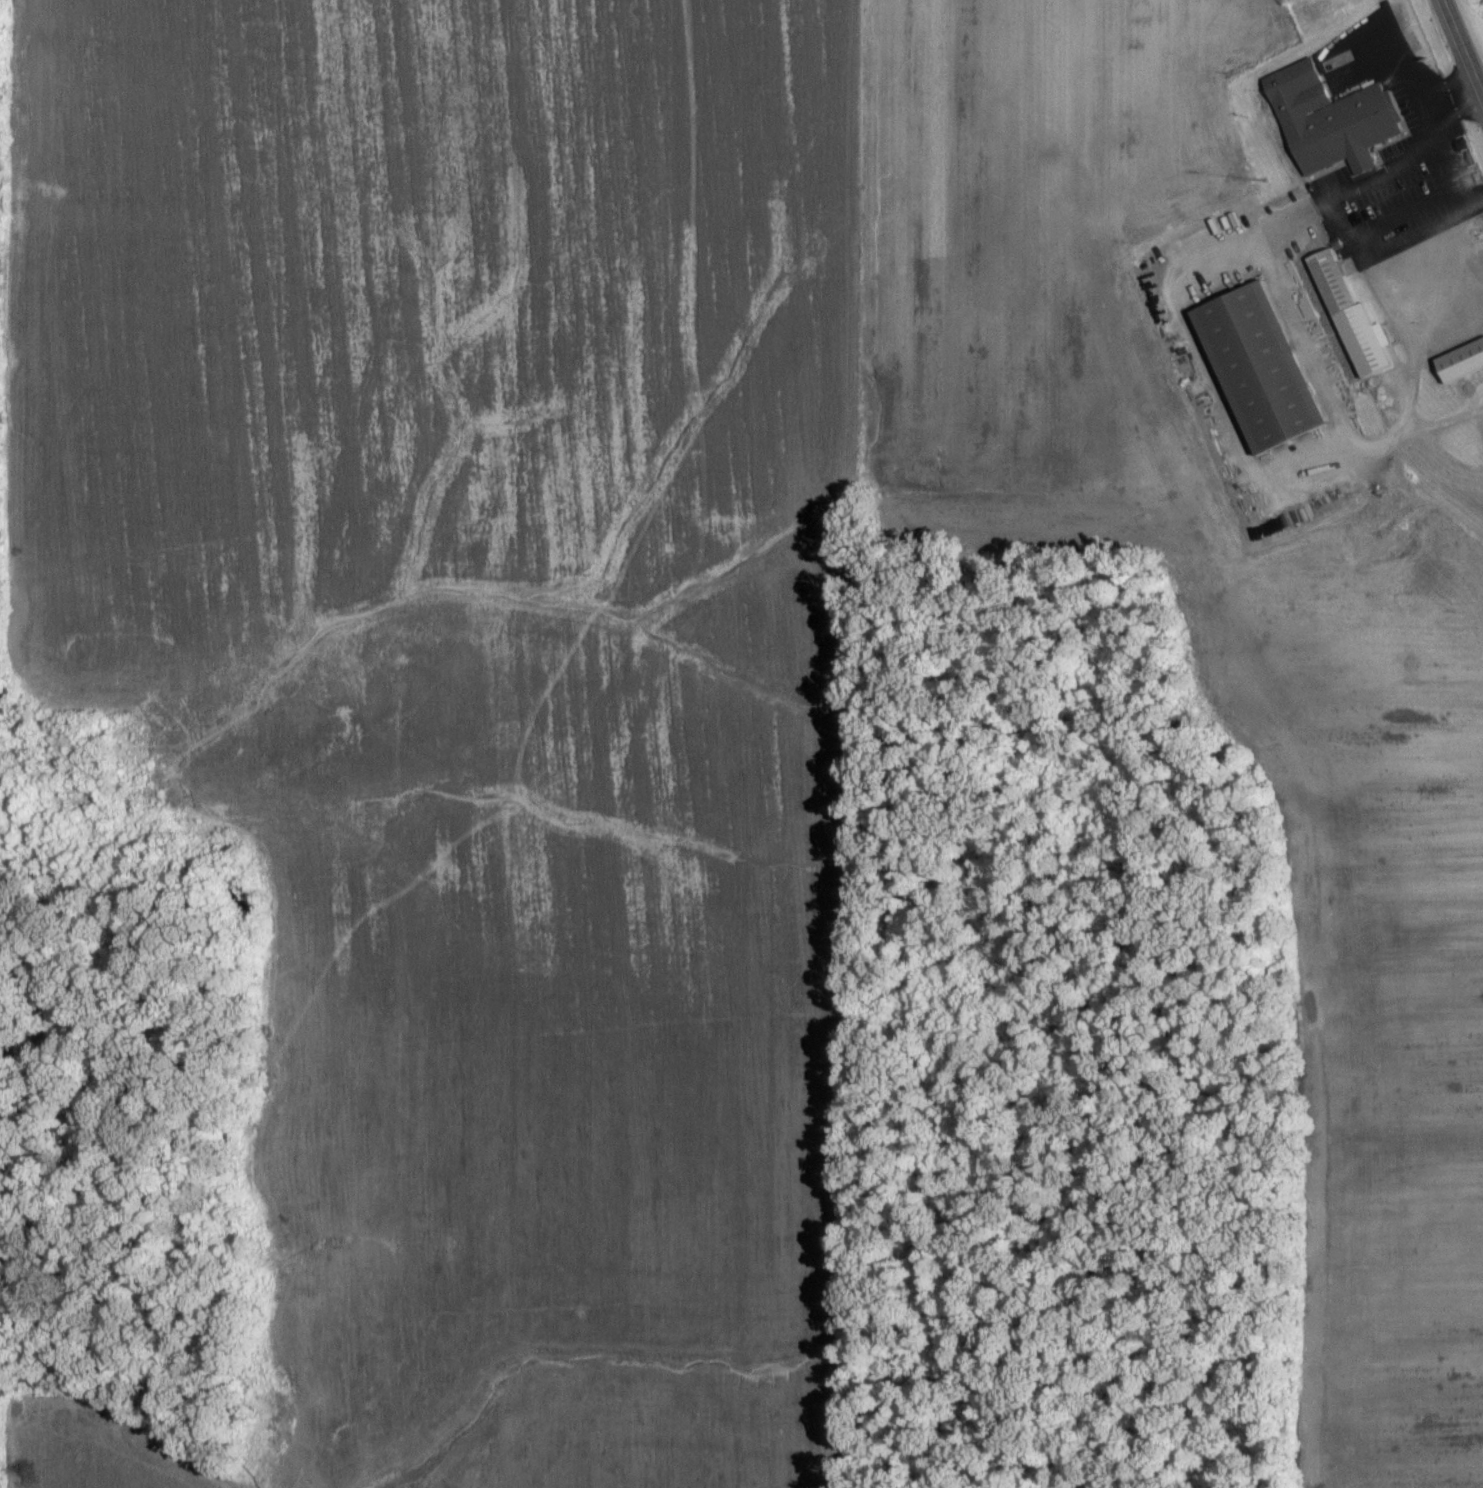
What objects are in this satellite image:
road: (1458, 58)
building: (1337, 119)
building: (1357, 316)
road: (1308, 354)
building: (1462, 363)
building: (1271, 366)

